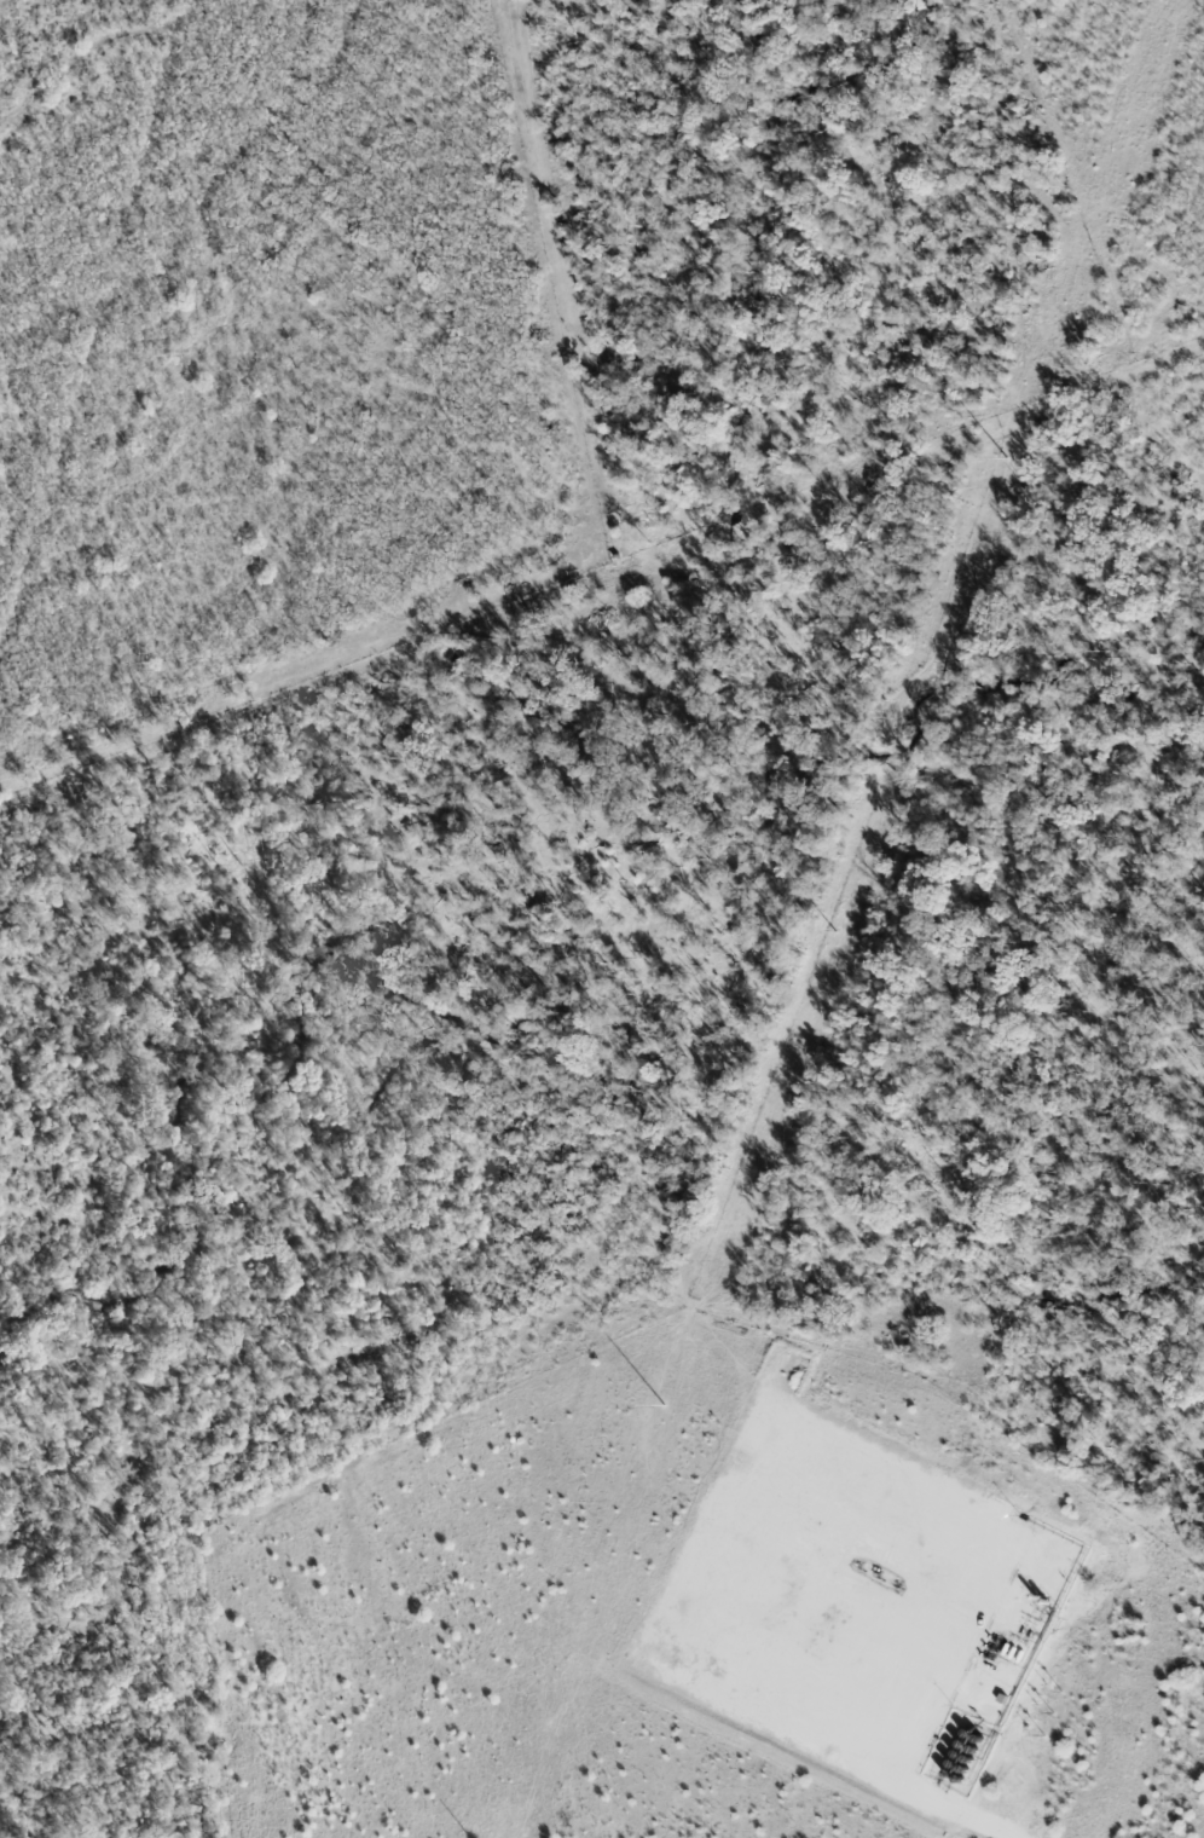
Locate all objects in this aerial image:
road: (818, 1736)

